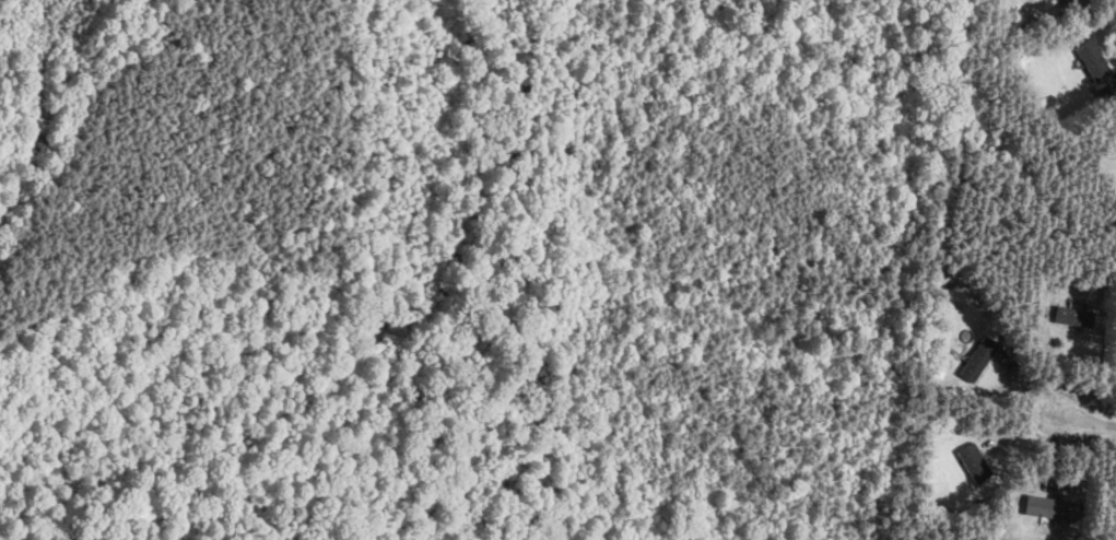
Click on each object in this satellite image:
building: (1048, 0)
road: (1069, 3)
building: (1092, 60)
road: (1115, 81)
building: (1072, 317)
building: (977, 361)
road: (1048, 366)
road: (1032, 387)
road: (1093, 424)
road: (1027, 427)
road: (1056, 442)
building: (973, 463)
building: (1050, 509)

